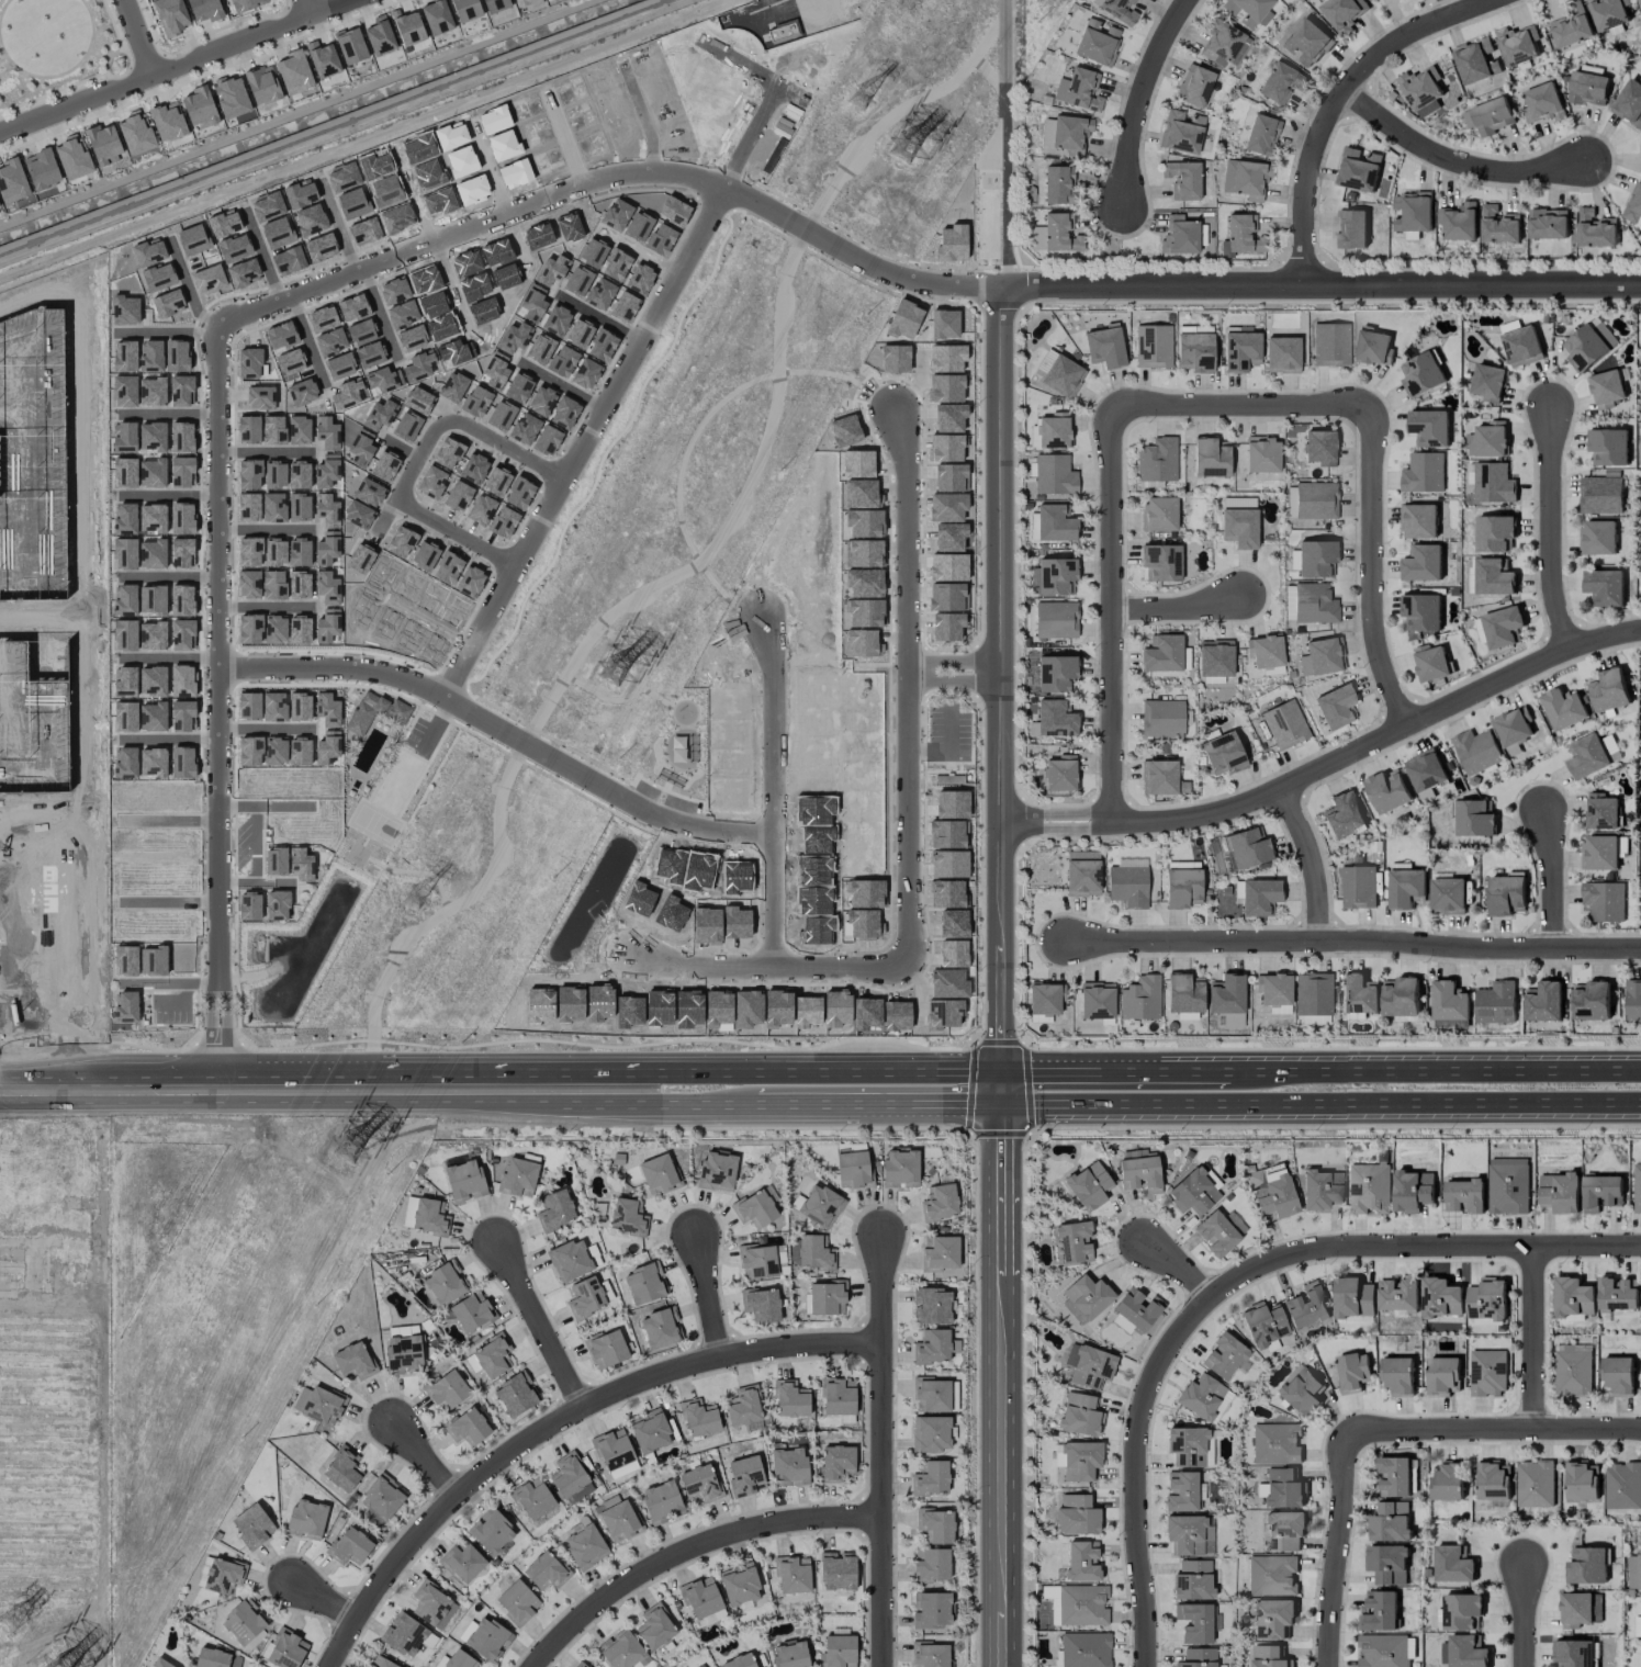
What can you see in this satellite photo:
building: (1640, 3)
building: (246, 4)
building: (494, 5)
road: (1452, 7)
road: (3, 8)
building: (1114, 8)
road: (304, 9)
building: (204, 10)
building: (465, 10)
building: (1247, 10)
building: (1344, 12)
building: (1608, 13)
building: (171, 15)
building: (436, 16)
building: (407, 26)
building: (1571, 27)
building: (379, 35)
road: (136, 38)
building: (1097, 42)
building: (1306, 43)
building: (1222, 44)
building: (350, 45)
building: (1518, 45)
park: (56, 49)
road: (98, 54)
road: (109, 57)
building: (322, 59)
road: (3, 60)
building: (1476, 60)
road: (176, 67)
road: (67, 71)
building: (294, 71)
road: (101, 74)
building: (1280, 82)
building: (261, 85)
building: (1194, 85)
road: (786, 88)
building: (1082, 89)
building: (1588, 89)
building: (1423, 90)
road: (1137, 93)
building: (231, 97)
power tower: (865, 102)
building: (1544, 102)
road: (1337, 103)
building: (1629, 103)
building: (199, 106)
road: (642, 116)
building: (1490, 116)
building: (167, 121)
road: (334, 125)
road: (757, 125)
building: (135, 132)
building: (1180, 132)
building: (1070, 133)
building: (1261, 133)
road: (564, 139)
building: (103, 144)
power tower: (907, 148)
building: (72, 157)
road: (1454, 161)
road: (488, 168)
building: (41, 169)
building: (1358, 170)
building: (1246, 178)
building: (1182, 179)
building: (12, 181)
road: (1003, 185)
road: (412, 195)
building: (1633, 205)
building: (1413, 212)
building: (1459, 222)
road: (337, 224)
building: (1548, 224)
building: (1499, 226)
building: (1640, 226)
building: (1350, 228)
building: (1596, 229)
building: (1059, 234)
building: (1179, 236)
building: (1240, 236)
road: (517, 243)
road: (639, 251)
road: (261, 254)
road: (1323, 286)
road: (451, 288)
road: (188, 289)
road: (252, 311)
road: (380, 314)
road: (600, 318)
road: (166, 333)
building: (1604, 334)
road: (307, 341)
building: (1330, 343)
building: (1153, 346)
building: (1105, 347)
building: (1374, 347)
building: (1521, 347)
building: (1584, 348)
building: (1240, 350)
building: (1194, 351)
building: (1282, 354)
building: (1057, 373)
building: (1421, 374)
building: (1487, 382)
road: (561, 386)
building: (1606, 388)
road: (1243, 409)
road: (170, 414)
building: (1429, 427)
building: (1054, 430)
building: (1491, 439)
road: (79, 442)
road: (588, 442)
building: (1319, 447)
building: (1608, 447)
road: (271, 452)
building: (1262, 454)
road: (418, 457)
building: (1210, 457)
building: (1157, 460)
building: (1424, 473)
building: (1054, 474)
building: (1493, 483)
road: (172, 495)
building: (1600, 495)
building: (1316, 500)
building: (1158, 514)
road: (384, 516)
building: (1418, 521)
building: (1054, 523)
building: (1239, 527)
road: (270, 530)
building: (1494, 532)
road: (1553, 533)
building: (1597, 538)
road: (766, 555)
road: (1004, 555)
building: (1315, 557)
building: (1161, 562)
building: (1423, 563)
road: (1373, 572)
building: (1056, 575)
building: (1494, 577)
road: (172, 578)
building: (1605, 587)
building: (1314, 604)
road: (1176, 605)
road: (271, 607)
building: (1421, 611)
road: (1113, 617)
building: (1056, 619)
road: (431, 621)
building: (1502, 627)
building: (1265, 651)
building: (1162, 653)
road: (957, 656)
building: (1319, 656)
road: (172, 657)
building: (1215, 658)
building: (1431, 663)
power tower: (614, 673)
building: (1055, 673)
road: (957, 678)
building: (1608, 690)
building: (1335, 706)
building: (1563, 708)
building: (1055, 718)
building: (1161, 718)
building: (1284, 724)
road: (774, 725)
building: (1514, 727)
road: (271, 729)
road: (170, 740)
road: (83, 748)
building: (1610, 748)
building: (1476, 751)
building: (1223, 754)
building: (1587, 756)
road: (1330, 764)
building: (1425, 770)
building: (1059, 773)
building: (1158, 777)
building: (1389, 790)
building: (952, 804)
road: (272, 806)
building: (1601, 811)
building: (1342, 814)
building: (1474, 819)
road: (169, 820)
building: (861, 832)
building: (945, 833)
building: (817, 840)
road: (46, 843)
building: (1246, 848)
building: (1599, 853)
road: (1313, 860)
building: (862, 863)
building: (948, 864)
building: (812, 870)
building: (1082, 872)
road: (1555, 878)
road: (259, 883)
building: (1127, 886)
building: (1357, 887)
building: (1181, 888)
building: (1406, 888)
building: (865, 893)
building: (946, 893)
building: (1507, 894)
building: (1256, 896)
building: (1448, 896)
building: (812, 900)
road: (170, 901)
power tower: (416, 901)
building: (1604, 901)
road: (14, 922)
building: (863, 923)
building: (952, 923)
building: (814, 930)
road: (8, 937)
road: (1357, 940)
road: (777, 945)
road: (1001, 946)
building: (953, 954)
road: (705, 960)
road: (94, 966)
road: (176, 983)
building: (948, 983)
building: (1273, 989)
building: (1184, 993)
building: (1313, 993)
building: (1359, 993)
building: (1226, 994)
building: (1401, 996)
building: (1140, 998)
building: (1097, 1000)
building: (1043, 1001)
building: (1633, 1001)
building: (1543, 1002)
building: (1592, 1002)
building: (1495, 1003)
building: (1450, 1004)
building: (1279, 1010)
building: (866, 1013)
building: (942, 1013)
building: (896, 1015)
road: (1439, 1069)
road: (1119, 1070)
road: (811, 1071)
traffic signals: (1000, 1072)
road: (312, 1088)
road: (1000, 1090)
road: (877, 1108)
road: (1320, 1108)
road: (686, 1110)
power tower: (349, 1149)
building: (852, 1169)
building: (900, 1169)
building: (716, 1170)
building: (657, 1173)
building: (1139, 1173)
building: (517, 1176)
building: (464, 1180)
building: (1508, 1185)
building: (1088, 1186)
building: (1322, 1189)
building: (1369, 1189)
building: (1637, 1189)
building: (1271, 1190)
building: (1412, 1191)
building: (1193, 1192)
building: (1559, 1192)
building: (1601, 1193)
building: (1464, 1196)
building: (940, 1203)
building: (820, 1205)
building: (754, 1208)
building: (554, 1210)
building: (429, 1216)
building: (627, 1216)
building: (1219, 1231)
building: (1072, 1242)
building: (813, 1252)
building: (940, 1252)
building: (570, 1259)
building: (757, 1261)
road: (1179, 1268)
road: (1230, 1282)
building: (643, 1283)
building: (442, 1284)
building: (1617, 1294)
road: (710, 1296)
building: (1087, 1296)
building: (1398, 1296)
building: (585, 1297)
building: (827, 1297)
building: (1573, 1297)
building: (1353, 1298)
building: (1441, 1298)
building: (1487, 1299)
building: (761, 1304)
building: (931, 1305)
building: (1306, 1305)
building: (1137, 1308)
building: (471, 1311)
road: (542, 1324)
building: (1263, 1324)
building: (660, 1328)
road: (1535, 1340)
building: (933, 1347)
building: (606, 1349)
building: (403, 1354)
building: (493, 1355)
building: (1225, 1355)
building: (352, 1361)
building: (1088, 1365)
building: (1573, 1371)
building: (1352, 1372)
building: (1487, 1373)
building: (1398, 1375)
building: (1618, 1375)
building: (1442, 1376)
road: (1001, 1387)
building: (447, 1390)
building: (1301, 1392)
building: (515, 1394)
building: (931, 1394)
building: (838, 1396)
building: (1201, 1396)
building: (790, 1398)
building: (317, 1405)
building: (743, 1406)
building: (1078, 1415)
building: (698, 1417)
road: (558, 1422)
building: (468, 1427)
building: (649, 1431)
road: (1494, 1432)
building: (930, 1433)
building: (1275, 1443)
building: (1189, 1446)
building: (612, 1449)
road: (883, 1450)
road: (425, 1458)
building: (1080, 1460)
building: (835, 1463)
building: (788, 1467)
building: (342, 1469)
building: (744, 1475)
building: (1394, 1476)
building: (570, 1478)
building: (930, 1478)
building: (1493, 1480)
building: (1448, 1482)
building: (1582, 1482)
building: (699, 1483)
building: (1535, 1484)
building: (1622, 1486)
building: (1283, 1488)
building: (1181, 1491)
building: (382, 1497)
building: (532, 1498)
building: (661, 1501)
building: (1076, 1514)
building: (617, 1518)
building: (306, 1519)
building: (1390, 1522)
building: (252, 1524)
building: (935, 1524)
building: (1284, 1530)
building: (491, 1531)
building: (1189, 1535)
building: (349, 1546)
building: (585, 1546)
road: (1338, 1550)
road: (689, 1551)
building: (1081, 1561)
building: (462, 1562)
building: (1387, 1564)
building: (931, 1565)
building: (1453, 1565)
building: (1586, 1566)
building: (544, 1570)
building: (836, 1570)
building: (1639, 1570)
building: (791, 1574)
building: (223, 1575)
building: (1272, 1575)
building: (1192, 1580)
building: (739, 1584)
building: (700, 1597)
road: (325, 1599)
building: (517, 1601)
building: (431, 1604)
building: (1081, 1604)
building: (1596, 1608)
building: (931, 1609)
building: (1575, 1610)
building: (1379, 1611)
building: (1462, 1611)
building: (1273, 1618)
road: (1525, 1618)
power tower: (15, 1622)
building: (243, 1622)
building: (1195, 1622)
building: (655, 1626)
building: (1638, 1627)
building: (403, 1634)
building: (487, 1637)
building: (285, 1649)
building: (621, 1649)
building: (1084, 1649)
building: (838, 1651)
building: (1382, 1651)
building: (1463, 1652)
building: (1573, 1653)
building: (789, 1654)
building: (929, 1654)
building: (1268, 1656)
building: (1198, 1657)
building: (211, 1658)
building: (740, 1662)
building: (159, 1663)
building: (380, 1663)
building: (577, 1665)

